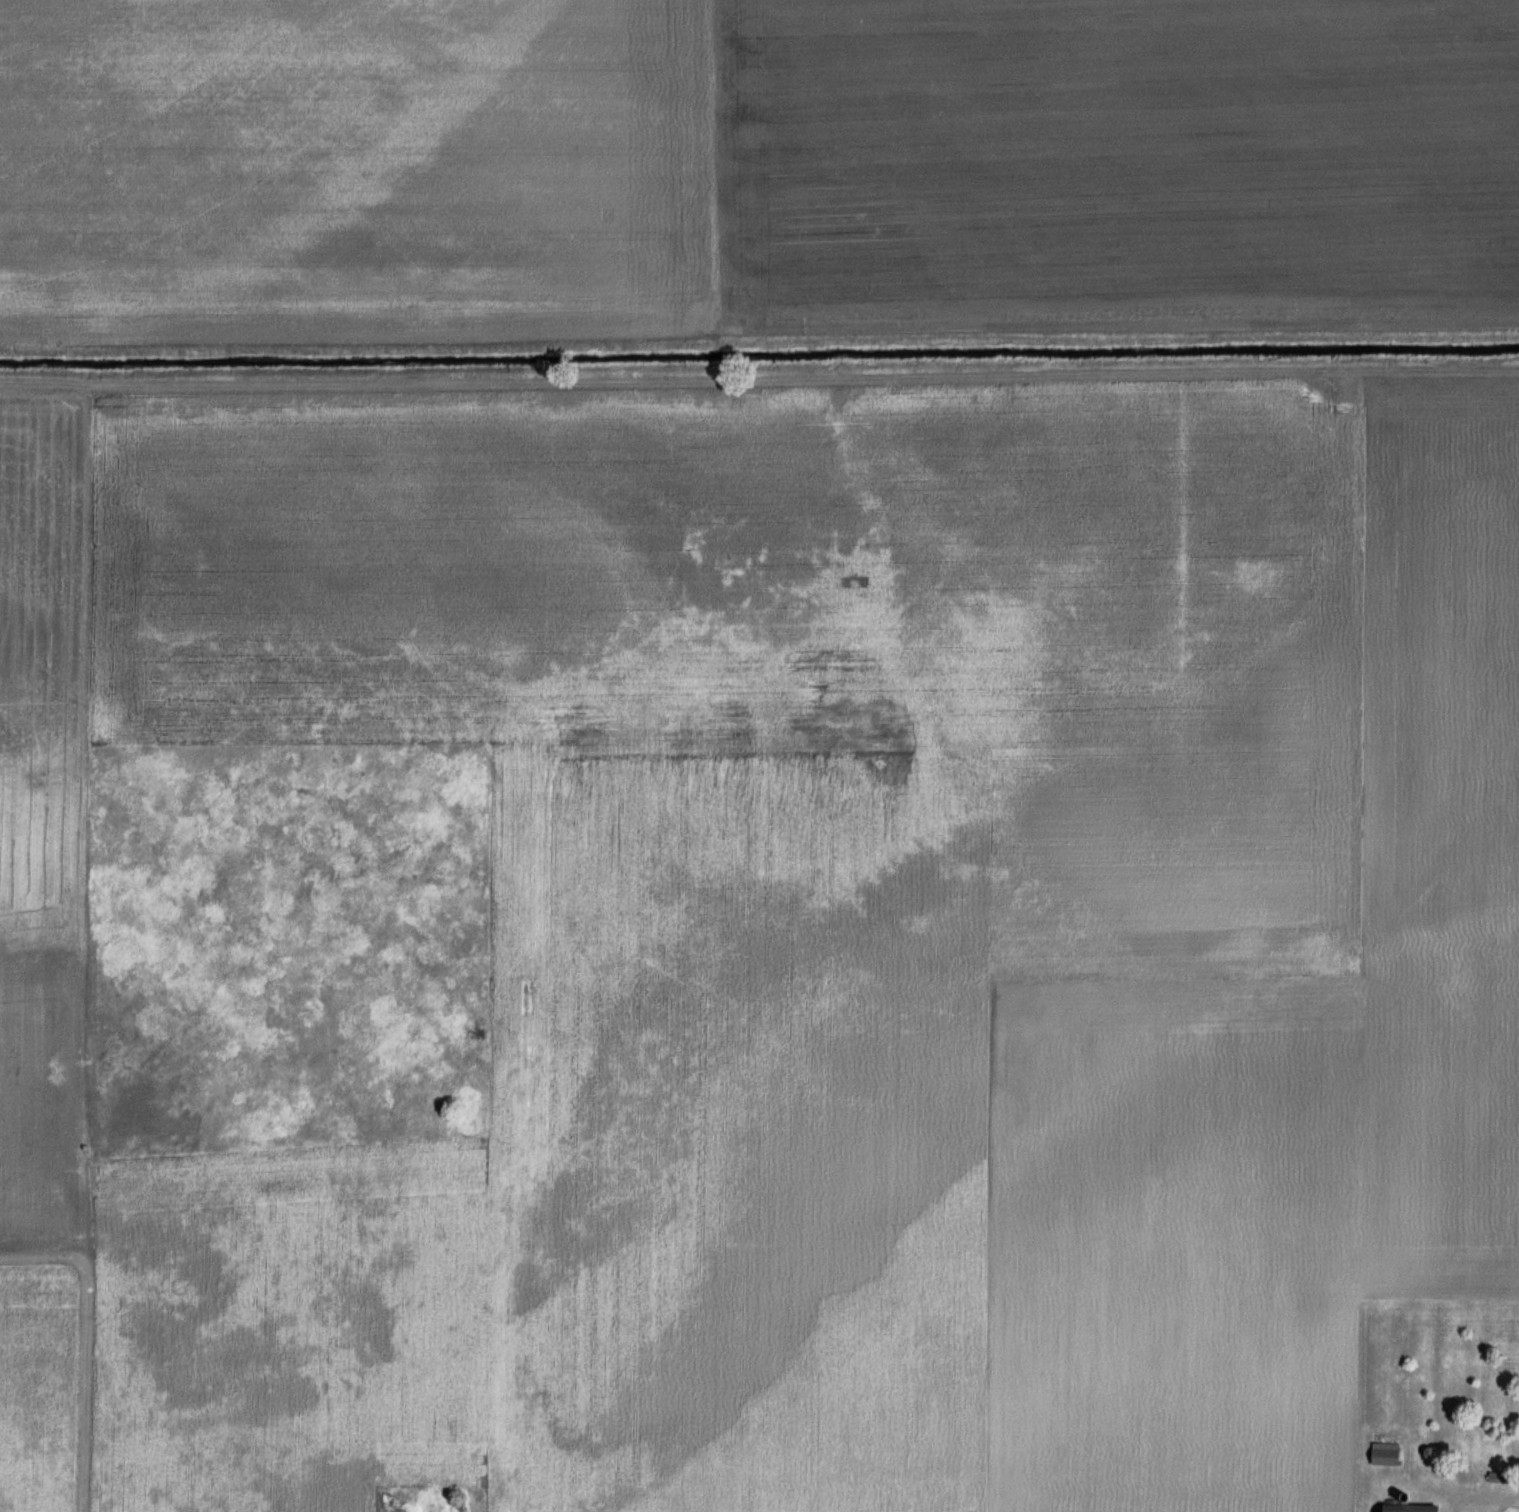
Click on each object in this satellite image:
building: (1390, 1453)
building: (1476, 1469)
road: (1483, 1495)
building: (1423, 1507)

